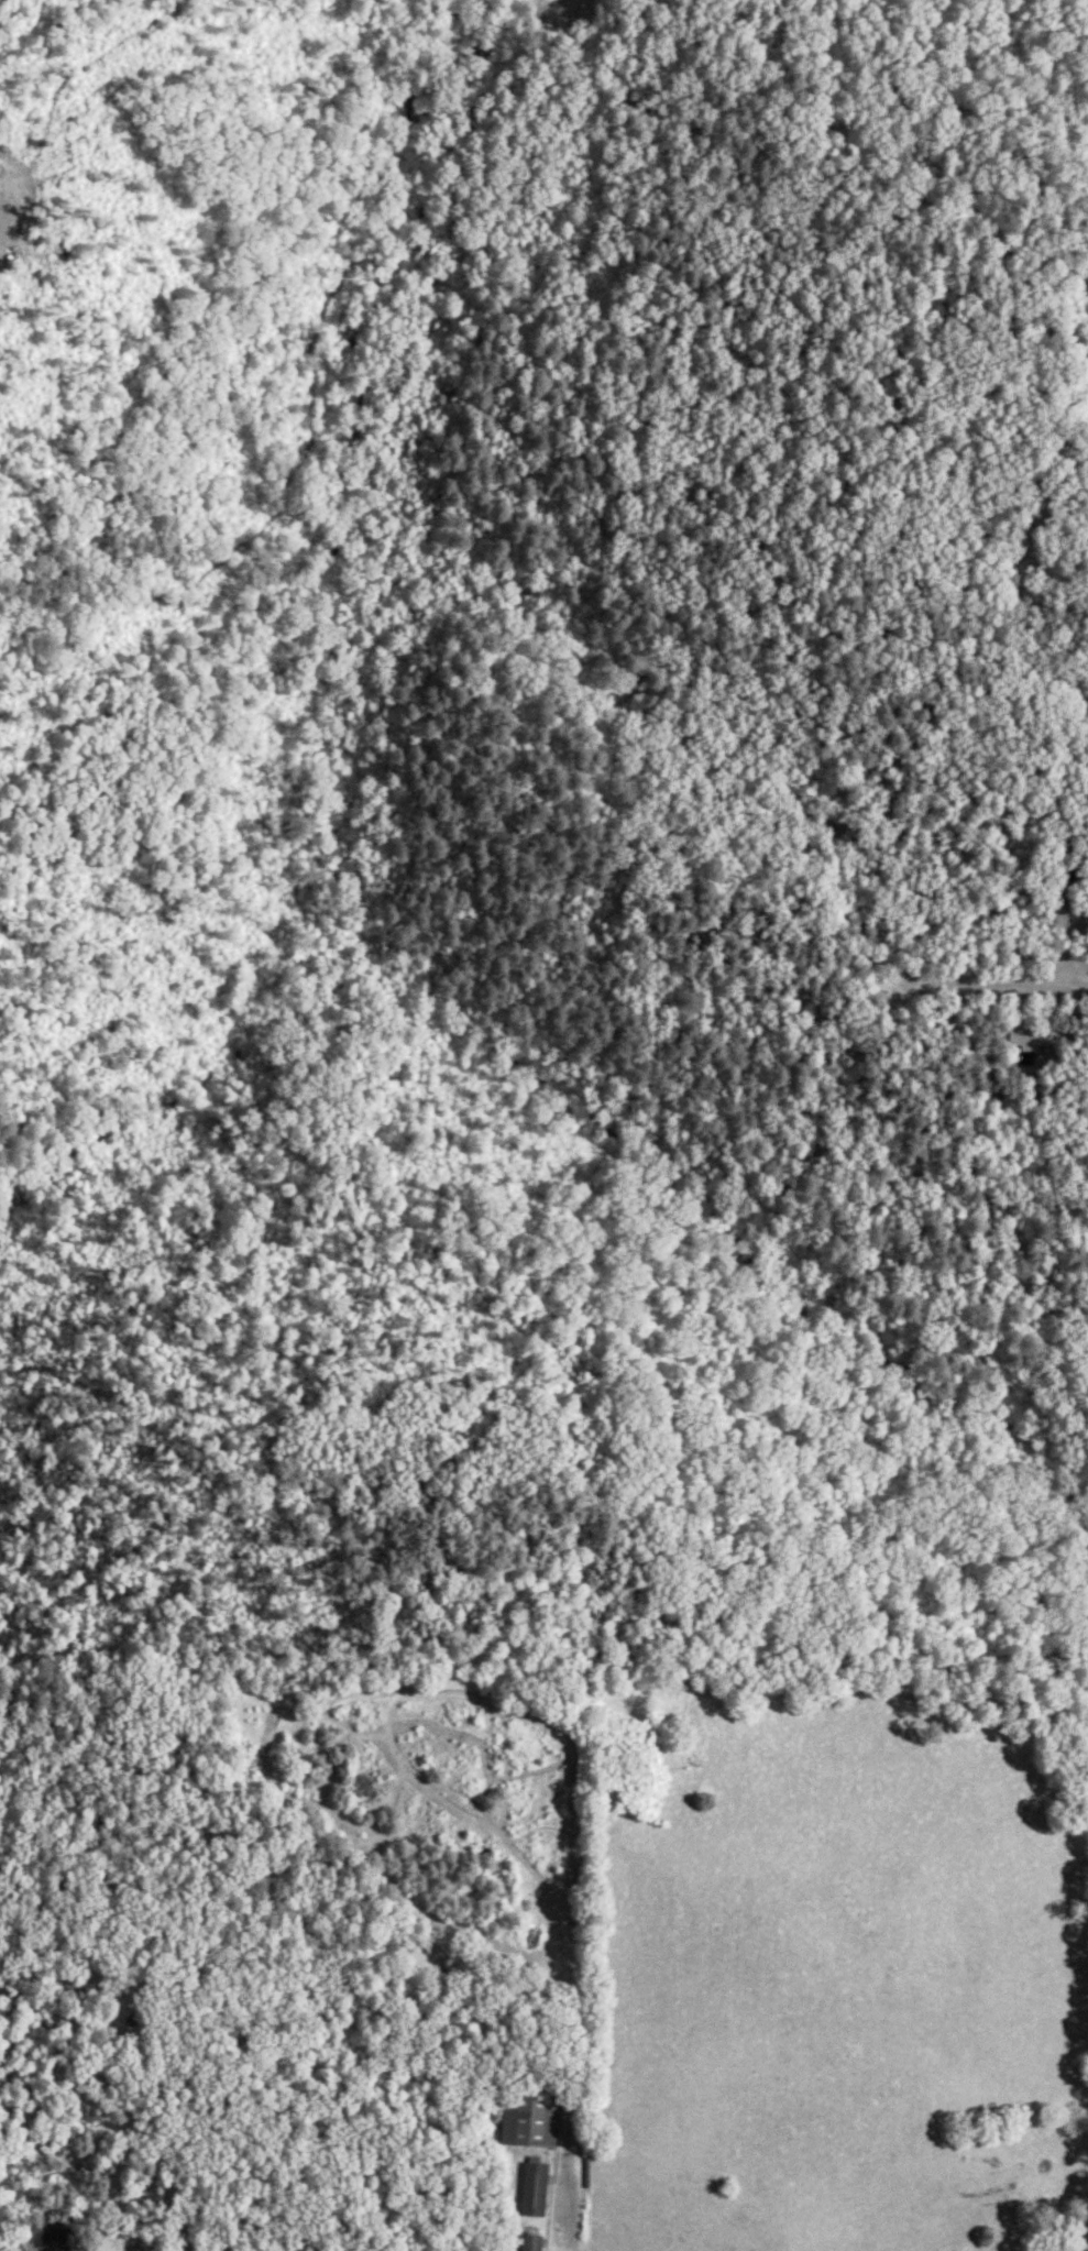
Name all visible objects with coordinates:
road: (1005, 981)
building: (540, 2173)
road: (565, 2186)
building: (537, 2203)

